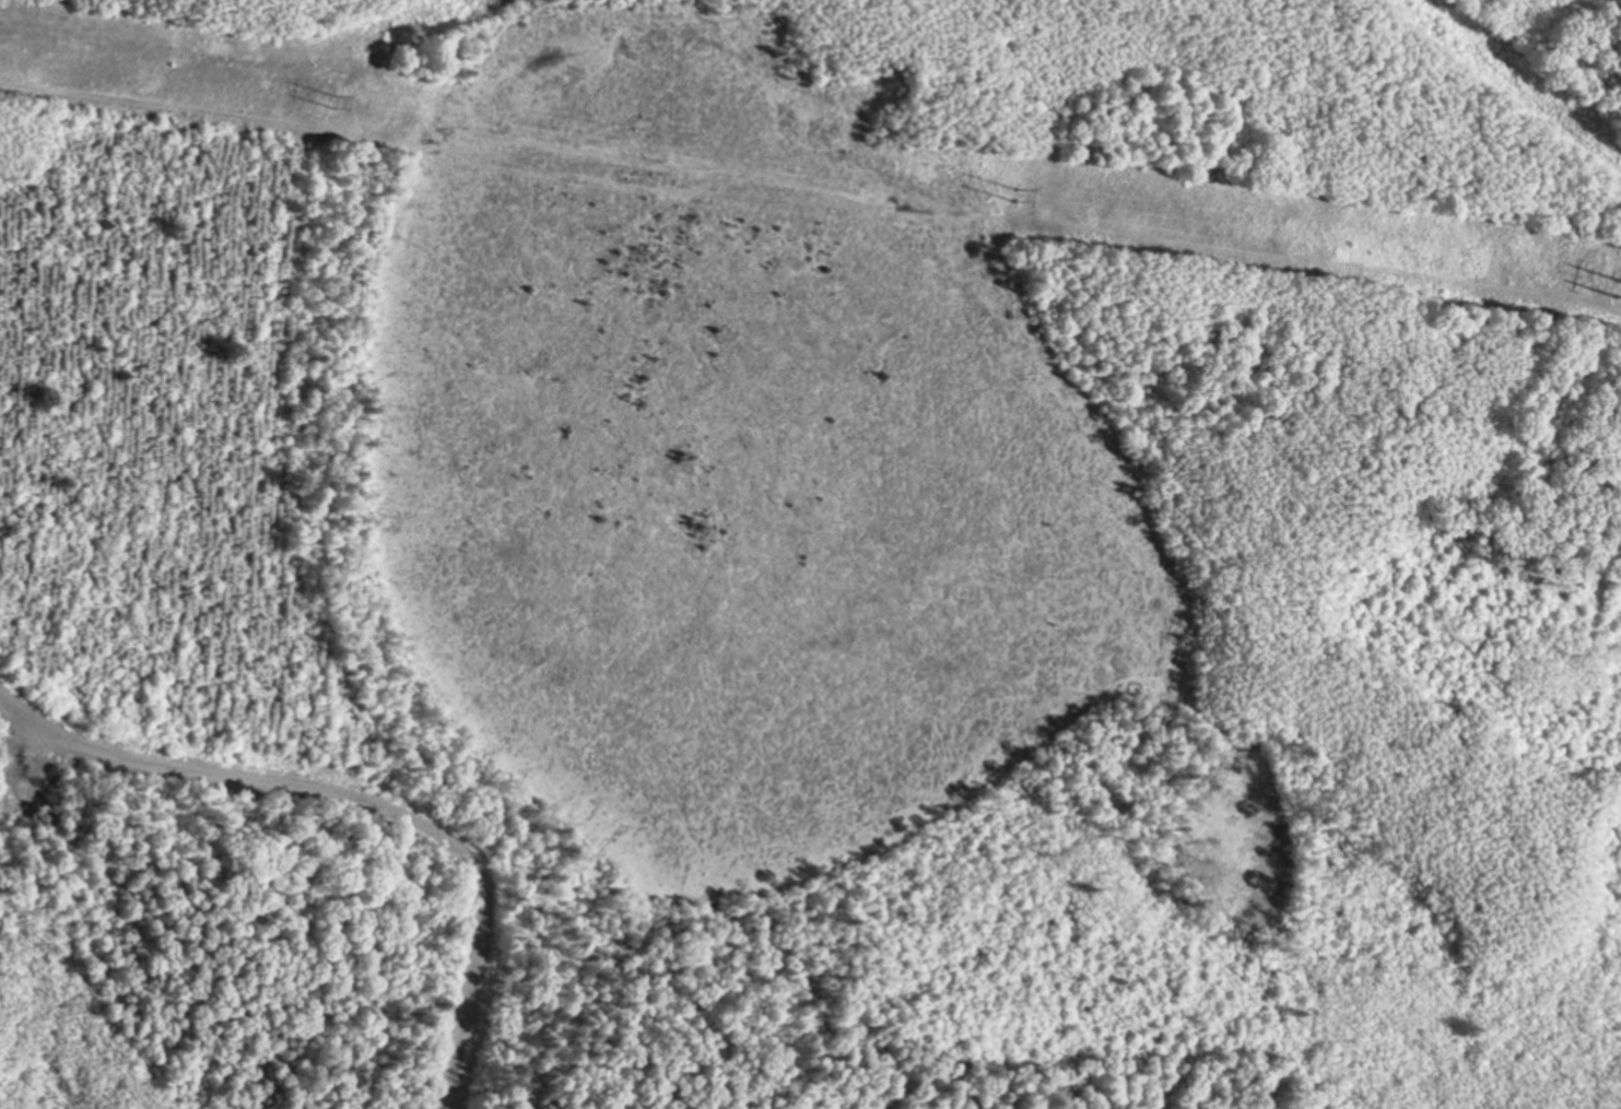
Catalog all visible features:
power tower: (342, 106)
power tower: (999, 196)
power tower: (1582, 275)
road: (208, 775)
road: (469, 958)

